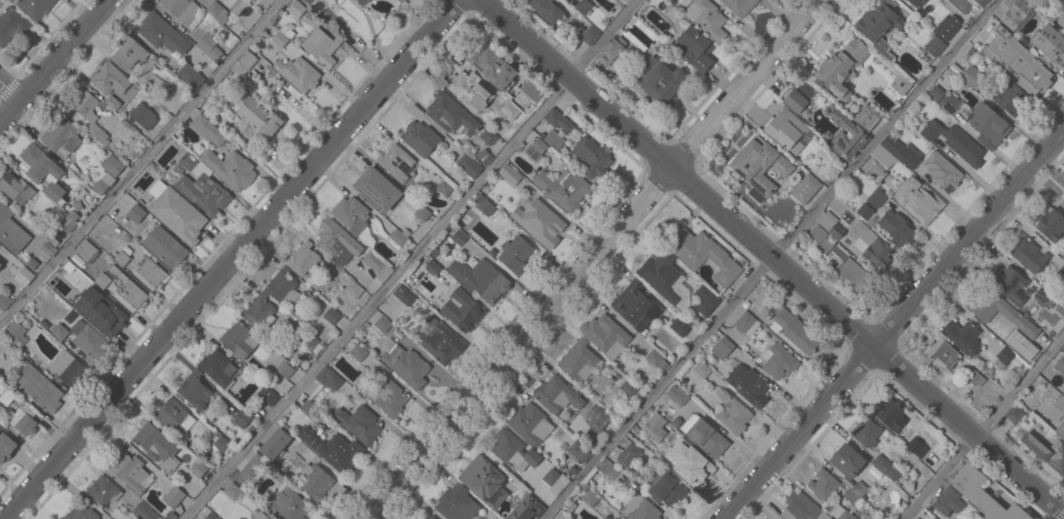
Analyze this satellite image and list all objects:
building: (251, 0)
building: (253, 0)
building: (402, 0)
building: (309, 1)
building: (362, 1)
building: (982, 2)
building: (917, 3)
building: (34, 7)
building: (583, 7)
building: (739, 7)
building: (296, 9)
building: (546, 9)
building: (182, 10)
building: (217, 11)
building: (1013, 12)
building: (1062, 18)
building: (706, 19)
building: (878, 24)
building: (11, 25)
building: (947, 27)
building: (161, 34)
building: (277, 35)
building: (589, 35)
building: (1050, 44)
building: (209, 46)
building: (321, 46)
building: (934, 46)
building: (693, 47)
building: (609, 50)
building: (127, 53)
building: (1011, 56)
road: (54, 61)
building: (244, 63)
building: (841, 68)
building: (493, 69)
building: (298, 74)
building: (190, 76)
building: (971, 76)
building: (110, 79)
building: (658, 82)
building: (900, 83)
building: (462, 84)
road: (11, 89)
building: (933, 93)
building: (1011, 98)
building: (795, 101)
building: (112, 102)
building: (950, 102)
building: (509, 110)
building: (88, 112)
building: (449, 113)
building: (256, 114)
building: (865, 117)
building: (143, 119)
building: (558, 121)
building: (987, 125)
building: (208, 129)
building: (786, 129)
building: (843, 132)
building: (60, 137)
building: (488, 137)
building: (419, 138)
building: (553, 139)
building: (954, 142)
building: (535, 149)
building: (883, 155)
building: (910, 157)
building: (591, 158)
building: (486, 159)
road: (142, 161)
building: (395, 162)
building: (759, 165)
building: (112, 166)
building: (469, 166)
building: (229, 169)
building: (43, 171)
building: (944, 172)
building: (512, 177)
building: (103, 183)
building: (199, 184)
building: (15, 188)
building: (444, 188)
building: (867, 188)
building: (563, 189)
building: (805, 189)
building: (377, 190)
building: (1063, 192)
building: (918, 200)
building: (1062, 202)
building: (152, 205)
building: (485, 207)
building: (864, 211)
building: (135, 213)
building: (422, 213)
building: (350, 215)
building: (183, 216)
building: (534, 217)
building: (68, 222)
building: (830, 225)
building: (1050, 225)
building: (897, 229)
building: (11, 230)
building: (399, 236)
building: (459, 237)
building: (337, 241)
building: (165, 247)
building: (871, 247)
building: (49, 249)
building: (87, 251)
building: (434, 251)
building: (701, 252)
building: (515, 253)
building: (1028, 255)
building: (123, 256)
road: (772, 258)
building: (1063, 258)
road: (231, 259)
road: (411, 259)
road: (594, 259)
road: (771, 259)
building: (304, 260)
building: (1063, 261)
building: (32, 262)
building: (842, 262)
building: (0, 264)
building: (377, 266)
building: (433, 268)
building: (152, 273)
building: (1060, 273)
building: (24, 277)
building: (481, 279)
building: (664, 279)
building: (102, 280)
building: (1009, 284)
building: (282, 286)
building: (127, 287)
building: (355, 290)
building: (404, 294)
building: (1041, 294)
building: (705, 300)
building: (4, 301)
building: (635, 305)
building: (462, 309)
building: (259, 311)
building: (101, 312)
building: (332, 315)
building: (1016, 317)
building: (380, 321)
road: (893, 323)
building: (747, 324)
building: (680, 326)
building: (58, 331)
building: (13, 332)
building: (794, 332)
building: (605, 335)
building: (963, 336)
building: (239, 339)
building: (89, 340)
building: (310, 341)
building: (441, 341)
building: (1021, 346)
building: (721, 348)
building: (358, 352)
building: (942, 353)
building: (1005, 356)
building: (654, 358)
building: (579, 361)
building: (779, 361)
building: (280, 364)
building: (406, 364)
building: (1060, 364)
building: (68, 368)
building: (217, 368)
building: (702, 370)
building: (328, 377)
building: (974, 377)
building: (748, 385)
building: (38, 387)
building: (628, 387)
building: (194, 390)
building: (4, 395)
building: (268, 395)
building: (557, 395)
building: (679, 396)
building: (389, 397)
building: (1060, 403)
building: (310, 408)
building: (170, 414)
building: (889, 414)
building: (1015, 414)
building: (733, 415)
building: (597, 418)
building: (22, 419)
building: (242, 419)
building: (359, 424)
building: (529, 424)
building: (653, 424)
building: (1060, 429)
road: (986, 430)
building: (866, 432)
building: (704, 436)
building: (221, 443)
building: (275, 443)
building: (157, 445)
building: (5, 447)
building: (916, 448)
building: (333, 449)
building: (512, 449)
building: (578, 451)
building: (1046, 452)
building: (627, 454)
building: (847, 460)
building: (687, 465)
building: (253, 466)
building: (539, 467)
building: (885, 467)
building: (198, 469)
building: (606, 469)
building: (130, 472)
building: (315, 481)
building: (484, 481)
building: (555, 481)
building: (824, 484)
building: (860, 488)
building: (670, 489)
building: (103, 490)
building: (232, 490)
building: (983, 494)
building: (173, 497)
building: (590, 498)
building: (947, 501)
building: (287, 504)
building: (456, 504)
building: (799, 507)
building: (525, 508)
building: (639, 508)
building: (145, 511)
building: (80, 512)
building: (840, 512)
building: (170, 516)
building: (211, 516)
building: (261, 516)
building: (429, 517)
building: (567, 517)
building: (609, 517)
building: (770, 518)
building: (929, 518)

